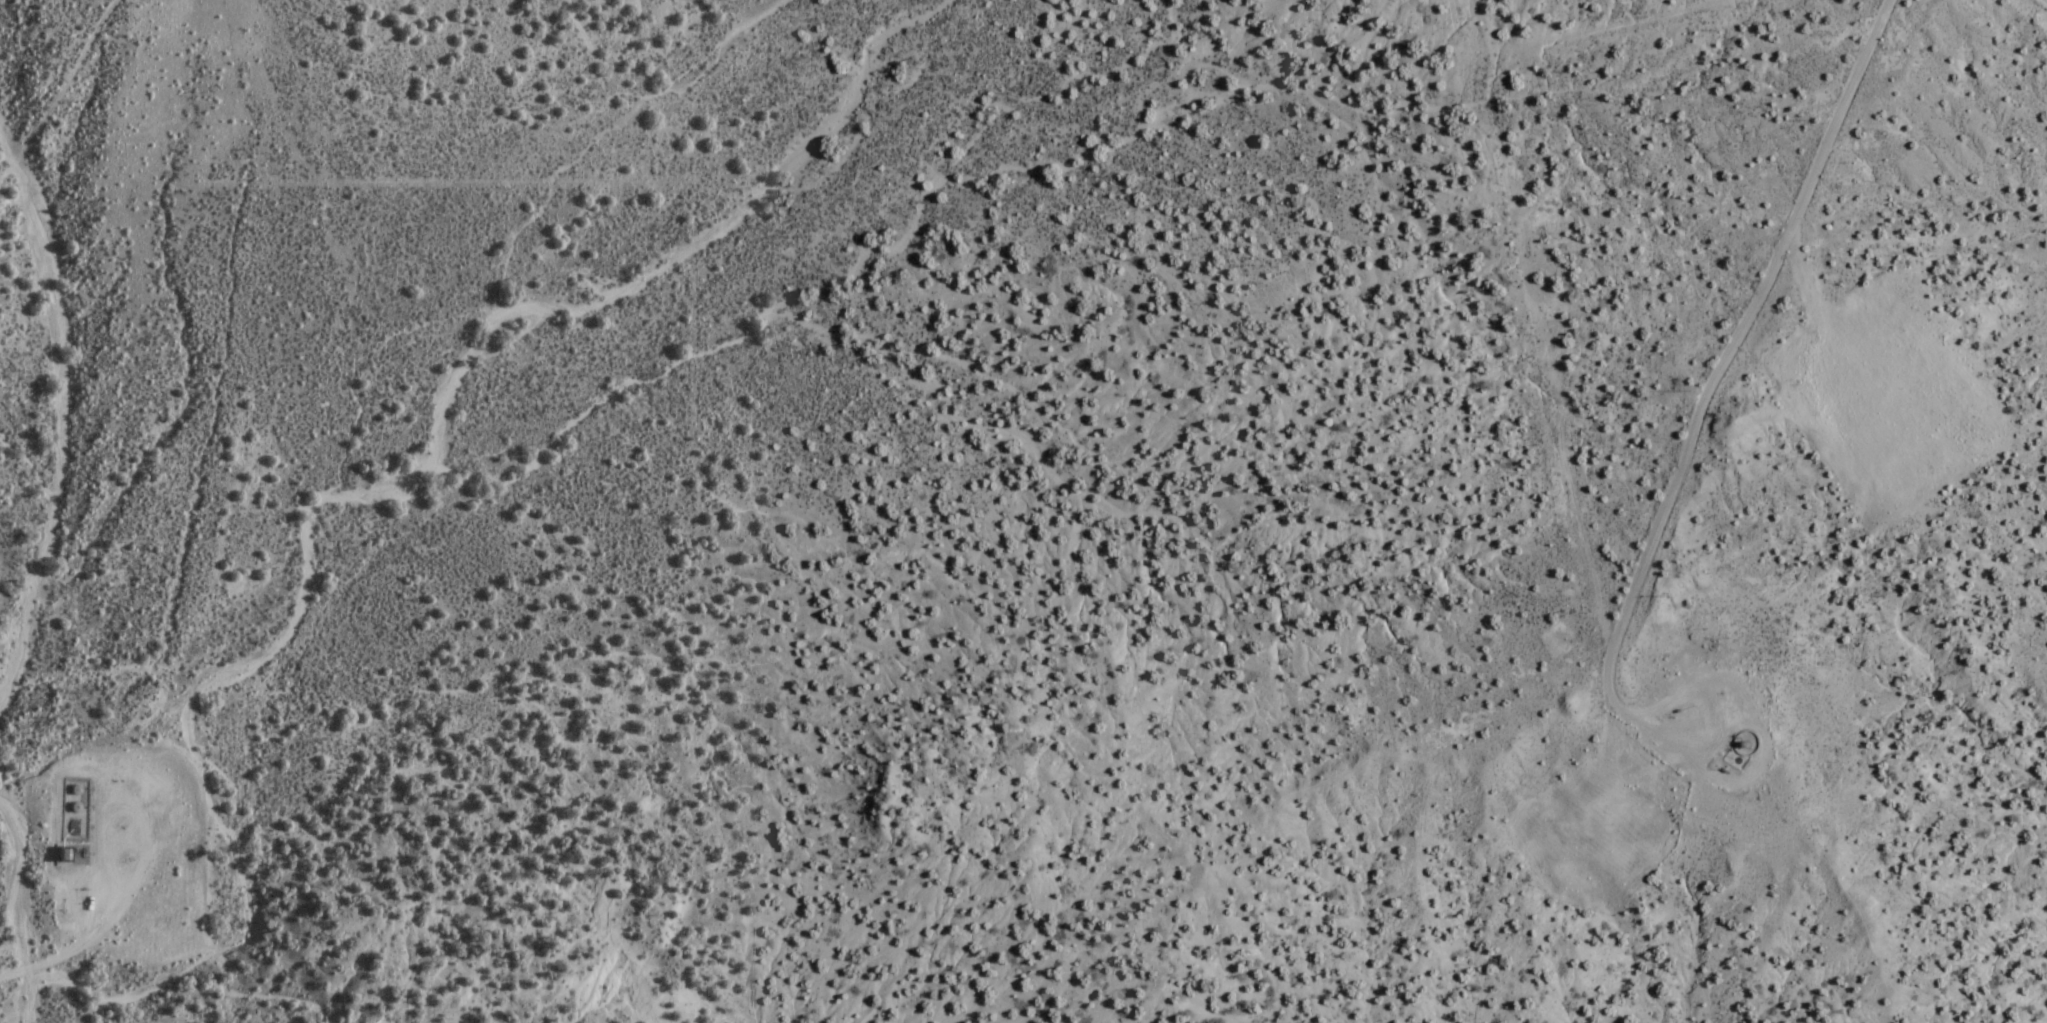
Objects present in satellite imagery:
road: (1716, 378)
river: (45, 400)
river: (33, 903)

